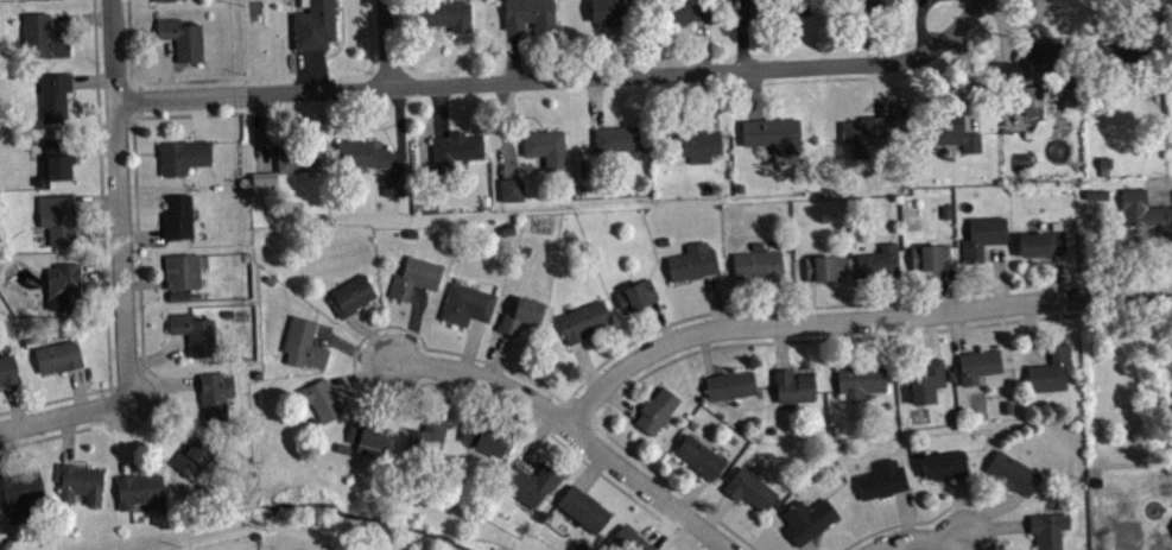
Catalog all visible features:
building: (259, 0)
building: (173, 2)
building: (878, 5)
building: (788, 6)
road: (128, 10)
building: (682, 10)
building: (806, 10)
building: (617, 11)
building: (446, 13)
building: (528, 13)
building: (313, 25)
building: (42, 34)
building: (182, 36)
building: (1121, 38)
road: (393, 45)
building: (1038, 53)
road: (96, 62)
road: (156, 80)
road: (559, 80)
building: (53, 95)
road: (132, 97)
building: (1035, 106)
building: (955, 129)
building: (772, 133)
building: (864, 133)
building: (616, 138)
building: (696, 143)
building: (545, 145)
building: (455, 148)
building: (360, 152)
building: (183, 154)
building: (57, 156)
building: (298, 156)
building: (264, 181)
building: (392, 183)
building: (511, 188)
road: (119, 201)
building: (1145, 211)
building: (177, 215)
building: (59, 217)
road: (103, 236)
building: (982, 236)
building: (1041, 242)
building: (930, 255)
building: (692, 260)
building: (878, 260)
building: (759, 264)
building: (824, 266)
building: (183, 270)
building: (413, 276)
building: (64, 285)
building: (351, 293)
building: (636, 293)
building: (467, 303)
road: (140, 304)
road: (784, 306)
building: (520, 312)
building: (582, 318)
road: (855, 323)
building: (194, 331)
road: (815, 339)
building: (303, 342)
building: (57, 355)
building: (982, 362)
building: (8, 368)
building: (1051, 368)
building: (859, 379)
building: (926, 379)
road: (426, 383)
building: (729, 383)
building: (793, 385)
building: (214, 393)
road: (55, 398)
building: (319, 398)
road: (103, 407)
building: (655, 409)
road: (64, 416)
road: (577, 429)
building: (368, 432)
building: (426, 434)
building: (483, 437)
building: (194, 454)
building: (698, 456)
building: (944, 463)
building: (1012, 472)
building: (882, 479)
building: (78, 481)
building: (530, 482)
building: (139, 488)
building: (749, 488)
building: (19, 492)
road: (692, 500)
building: (583, 507)
road: (936, 514)
building: (807, 518)
building: (1049, 529)
road: (913, 535)
building: (631, 539)

